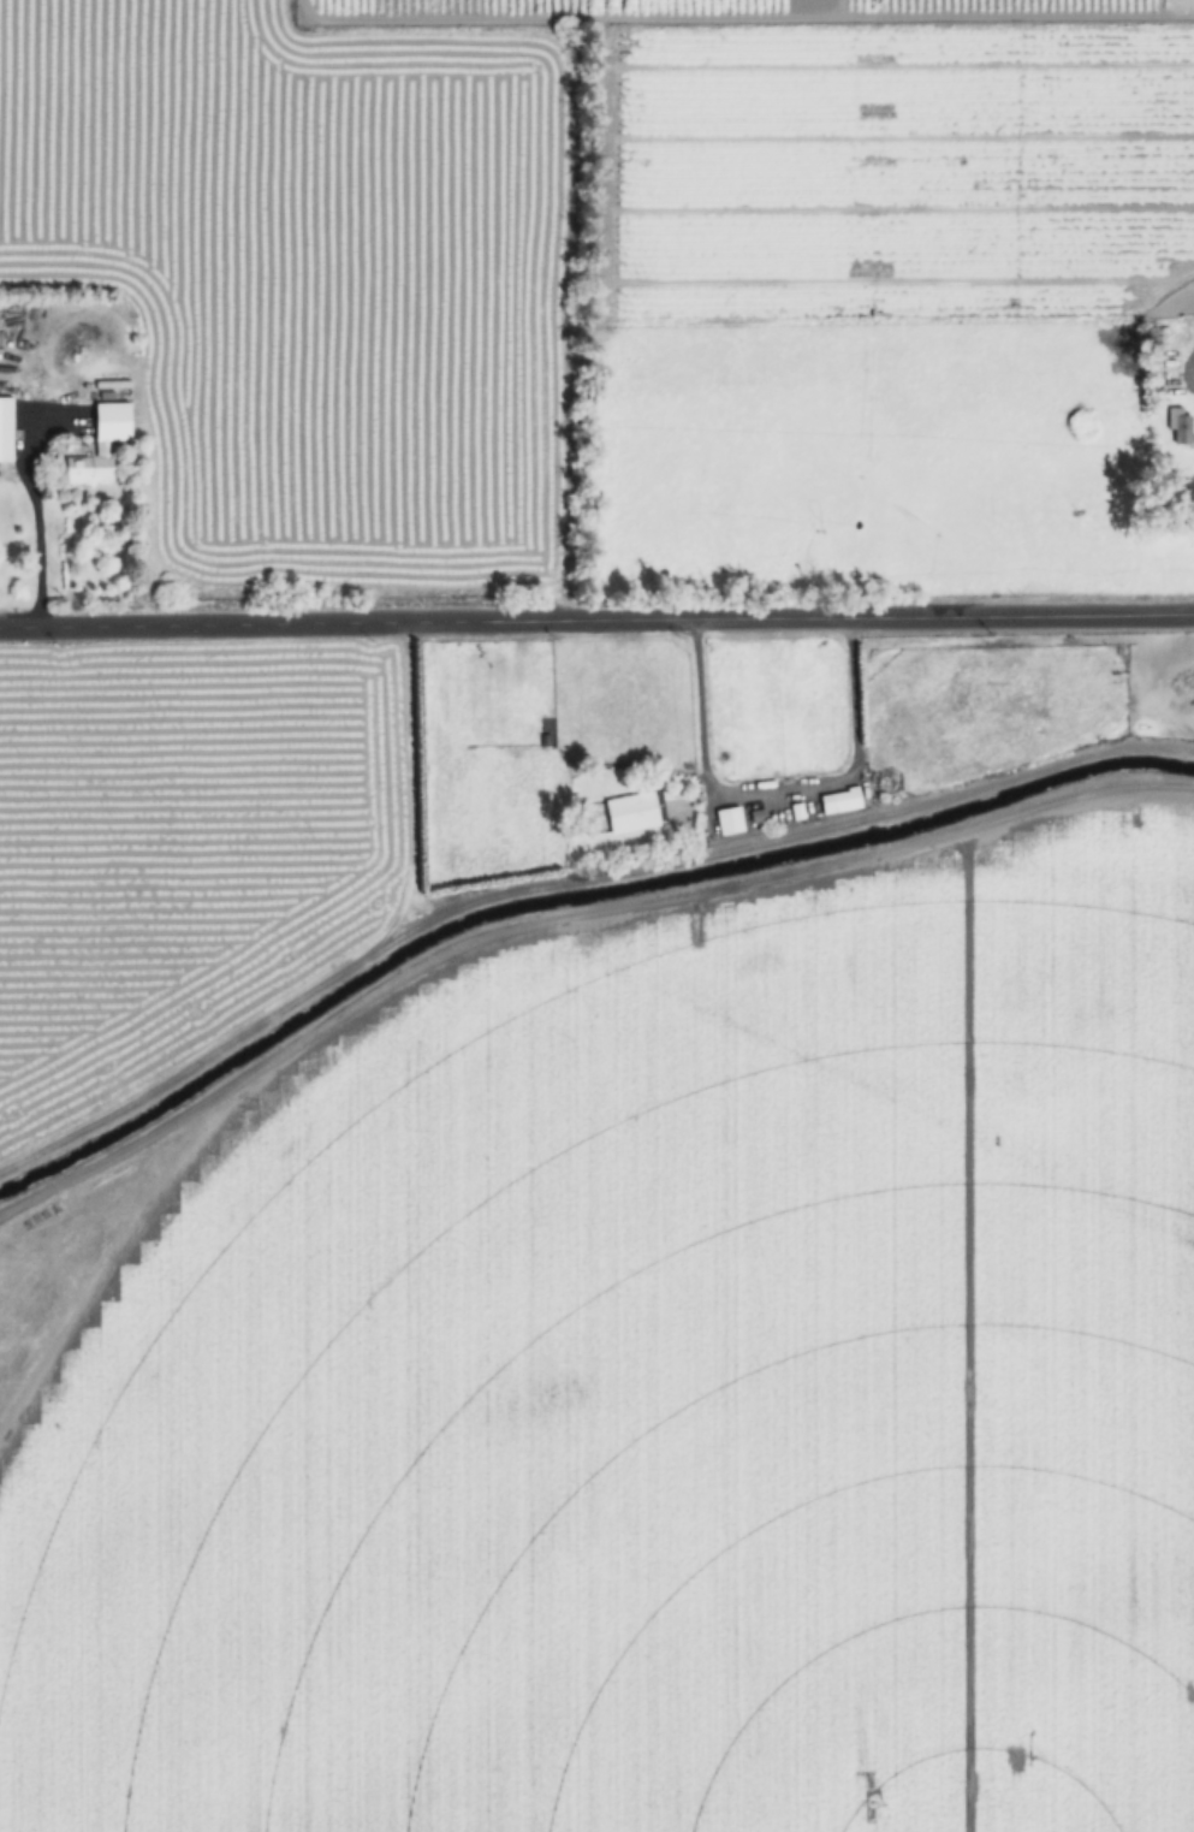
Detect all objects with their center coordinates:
building: (6, 431)
building: (100, 449)
road: (596, 621)
building: (839, 801)
building: (632, 814)

